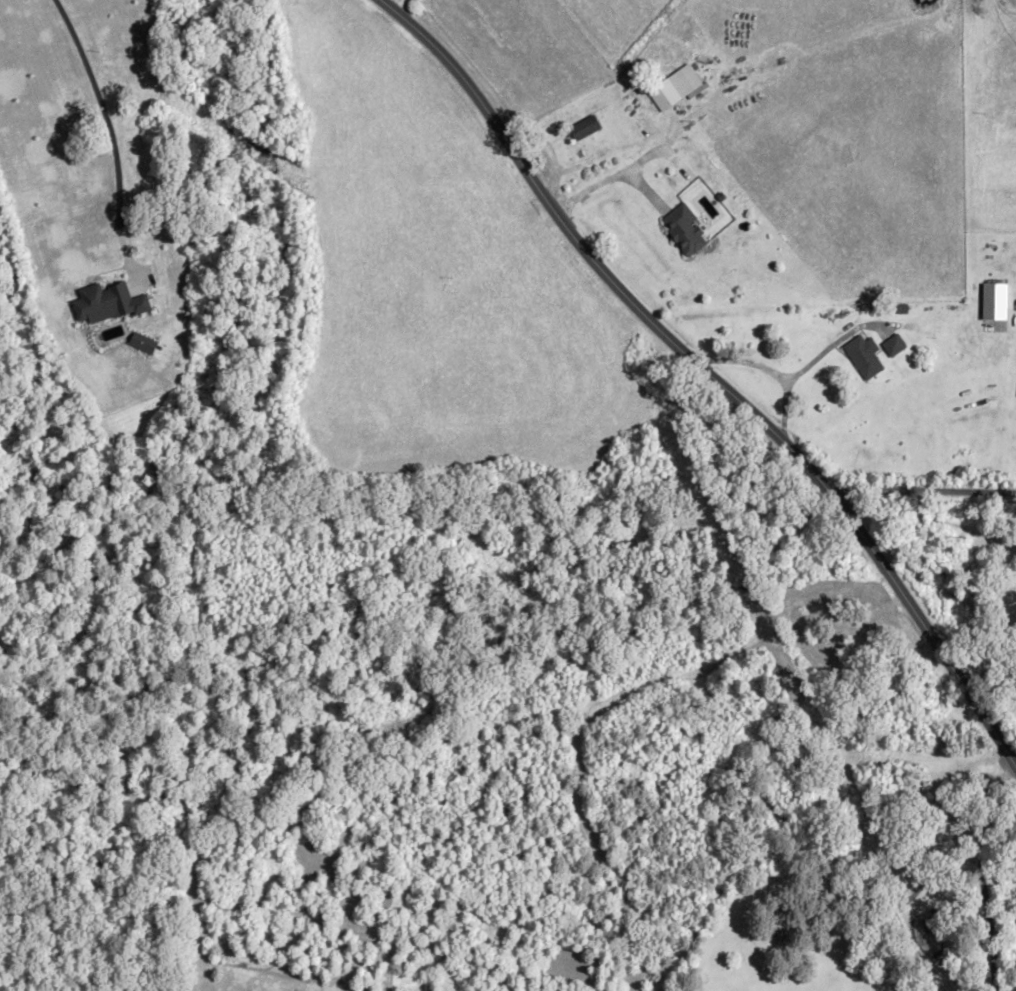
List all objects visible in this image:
building: (583, 128)
building: (684, 230)
building: (895, 345)
building: (865, 356)
road: (708, 375)
road: (924, 489)
road: (959, 775)
building: (769, 807)
road: (982, 870)

